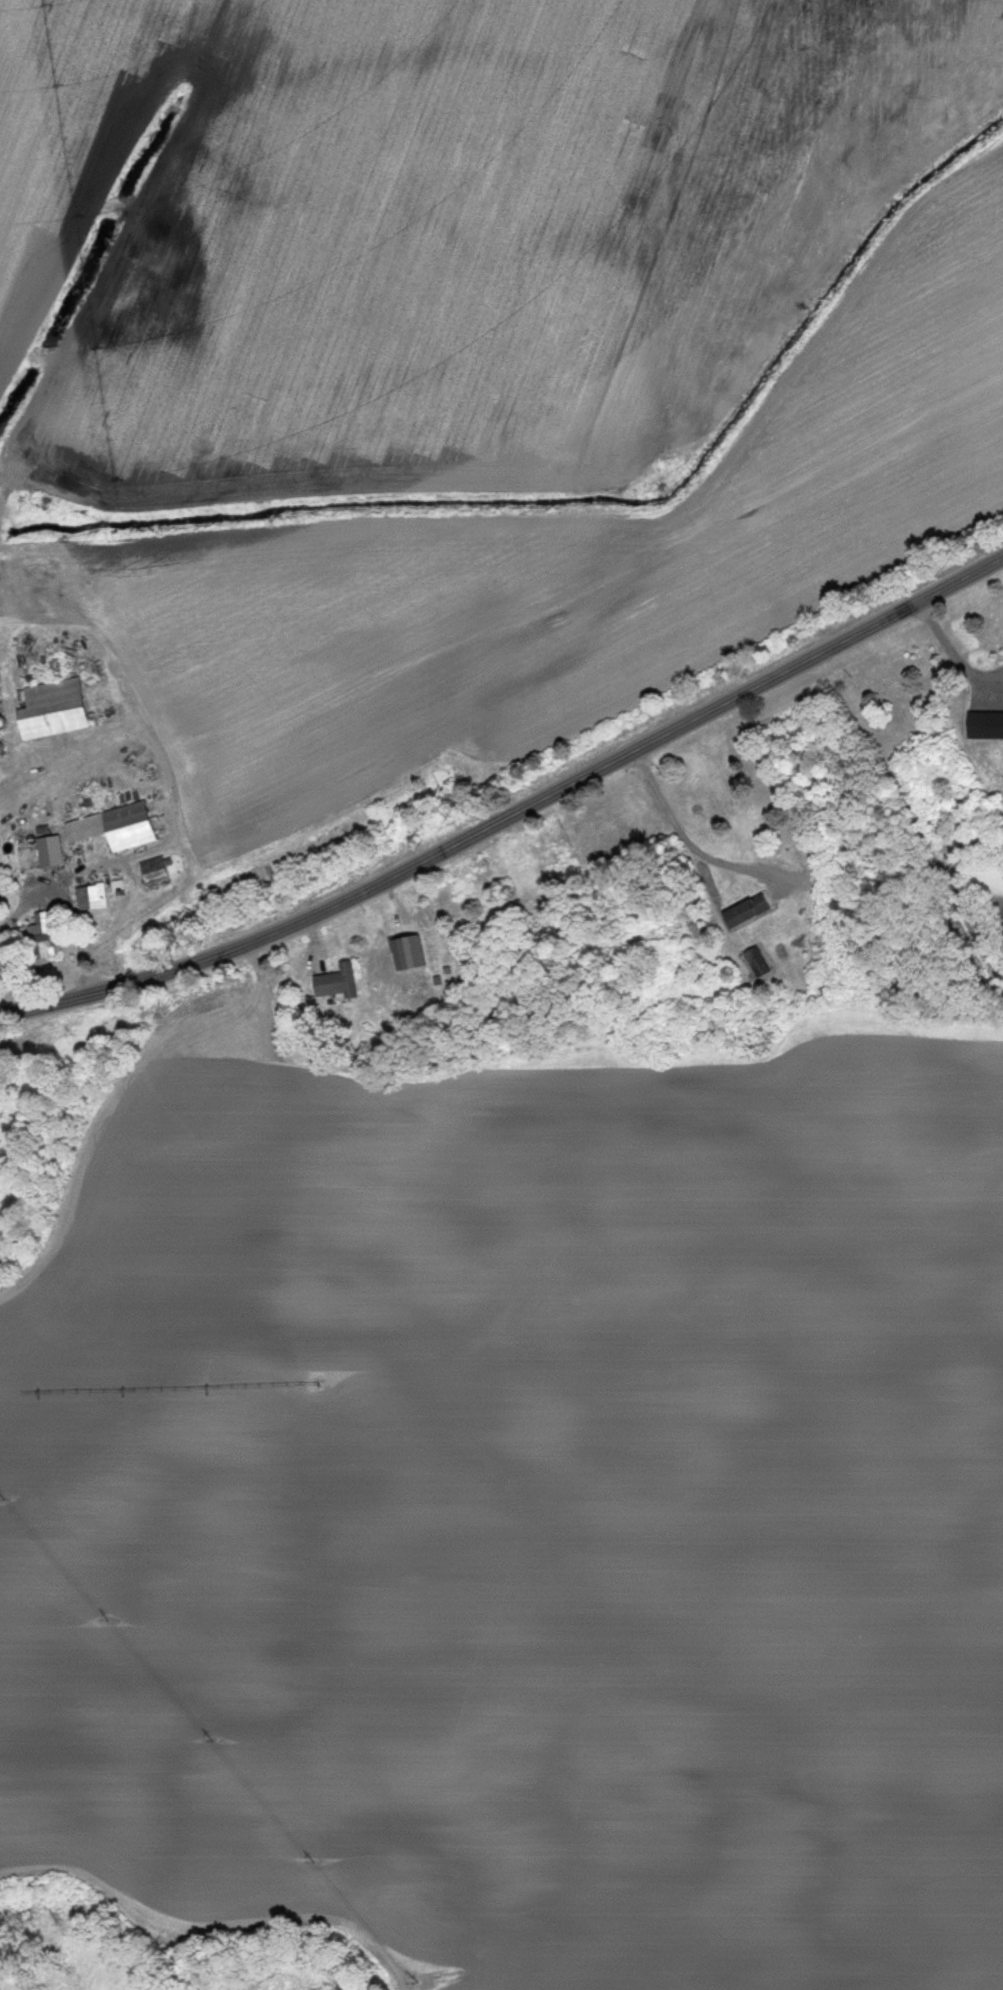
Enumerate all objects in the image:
building: (2, 686)
building: (48, 711)
building: (0, 749)
road: (511, 816)
building: (110, 829)
road: (683, 842)
building: (50, 854)
road: (125, 867)
building: (151, 873)
building: (88, 899)
building: (743, 913)
building: (35, 943)
building: (397, 957)
building: (753, 964)
building: (334, 984)

